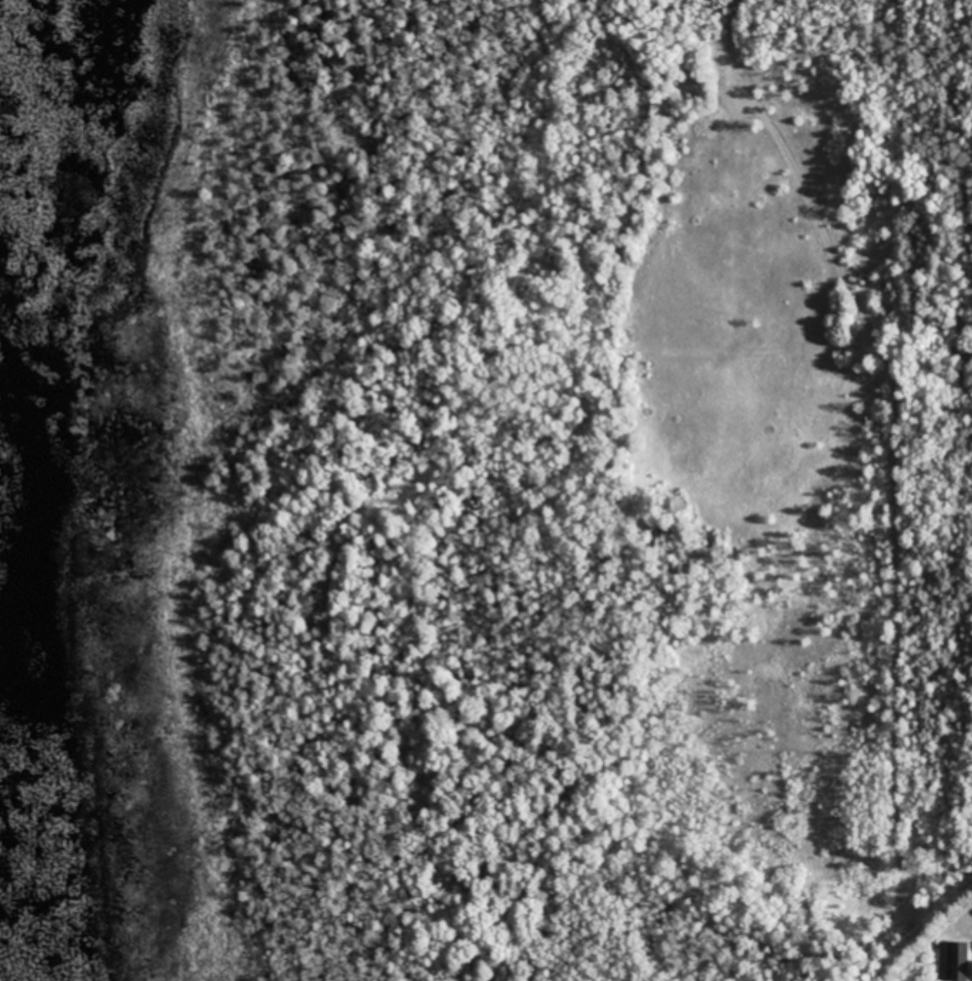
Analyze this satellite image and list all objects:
road: (890, 493)
building: (954, 961)

